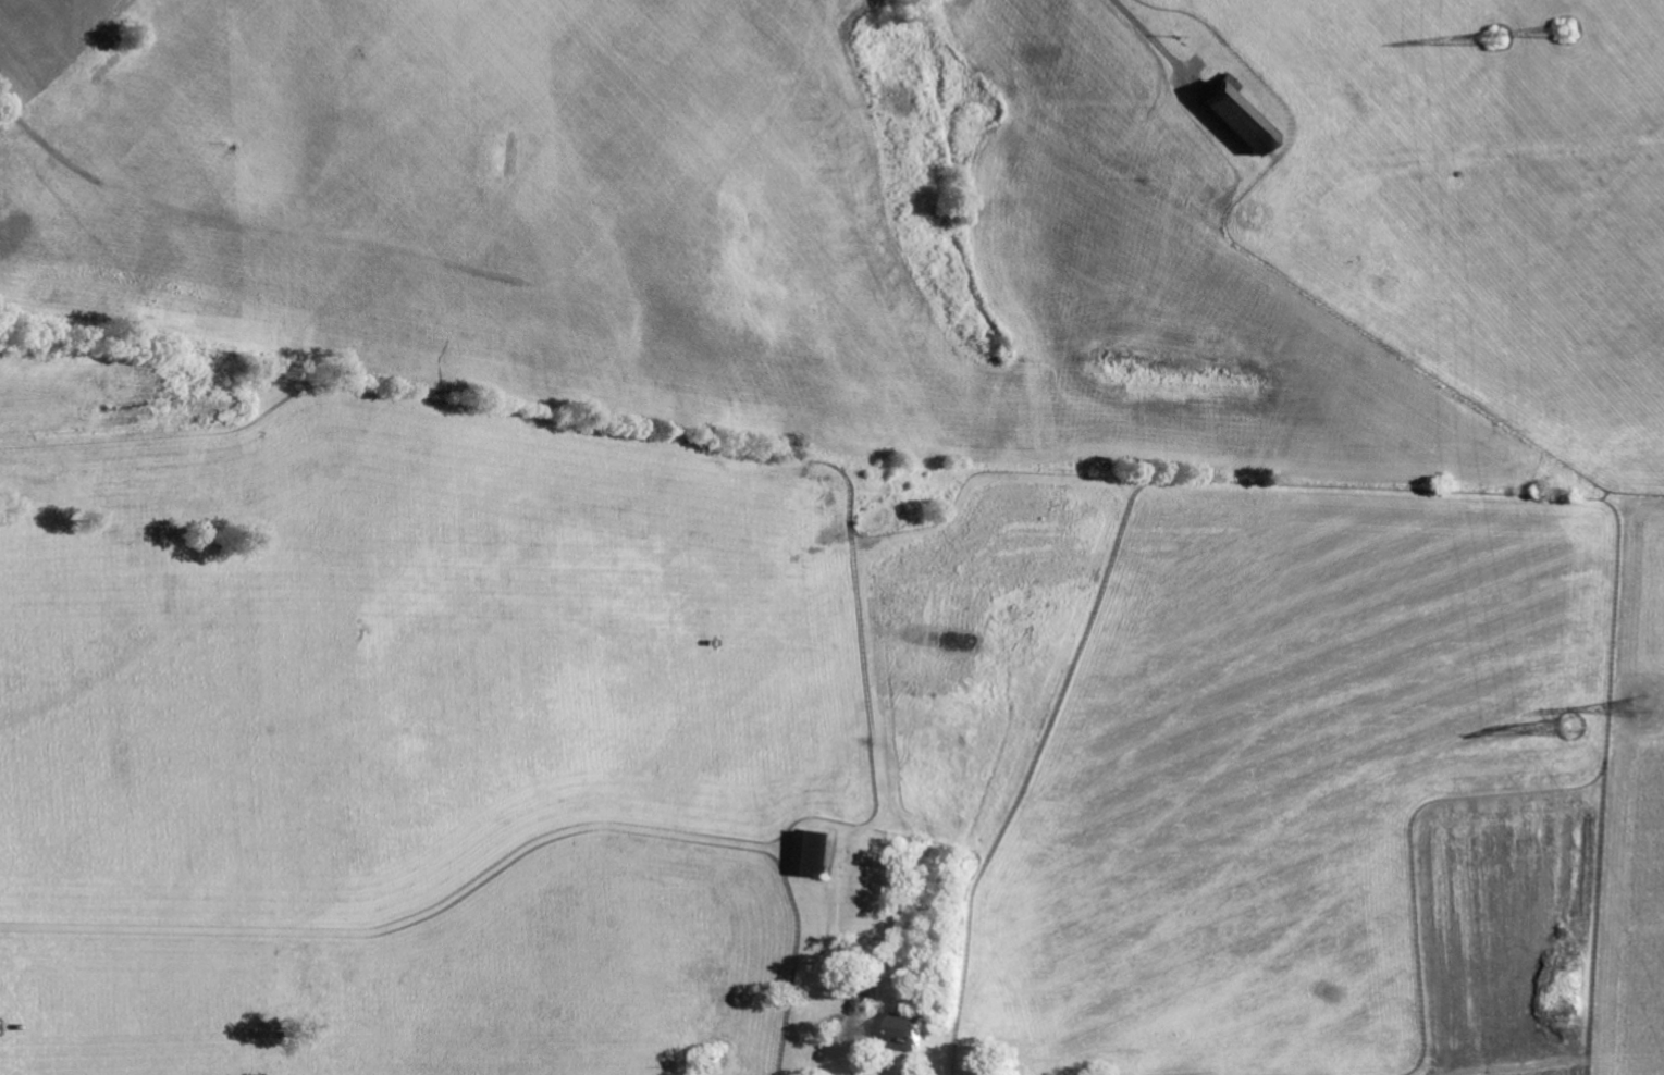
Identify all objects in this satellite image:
road: (1142, 28)
power tower: (1570, 33)
power tower: (1508, 37)
power tower: (1647, 702)
power tower: (1577, 722)
building: (818, 852)
road: (845, 984)
building: (915, 1028)

